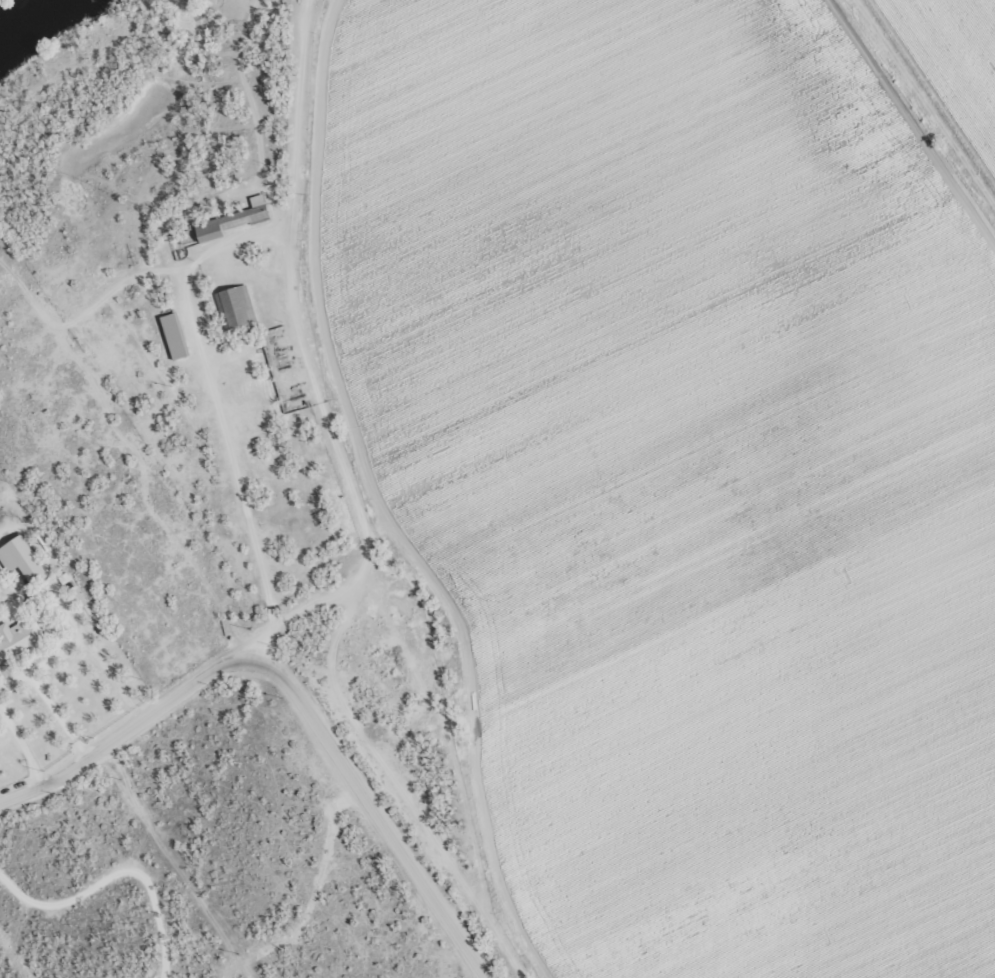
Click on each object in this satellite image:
building: (233, 220)
road: (197, 235)
building: (234, 306)
building: (174, 335)
road: (213, 481)
building: (20, 558)
building: (18, 638)
road: (122, 736)
road: (377, 817)

